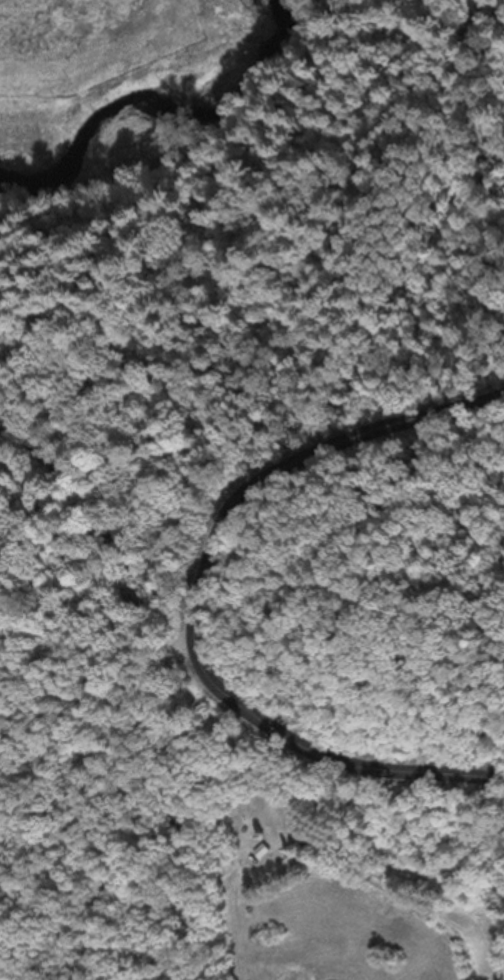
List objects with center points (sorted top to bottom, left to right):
ski resort: (115, 519)
road: (197, 601)
road: (215, 734)
building: (258, 851)

